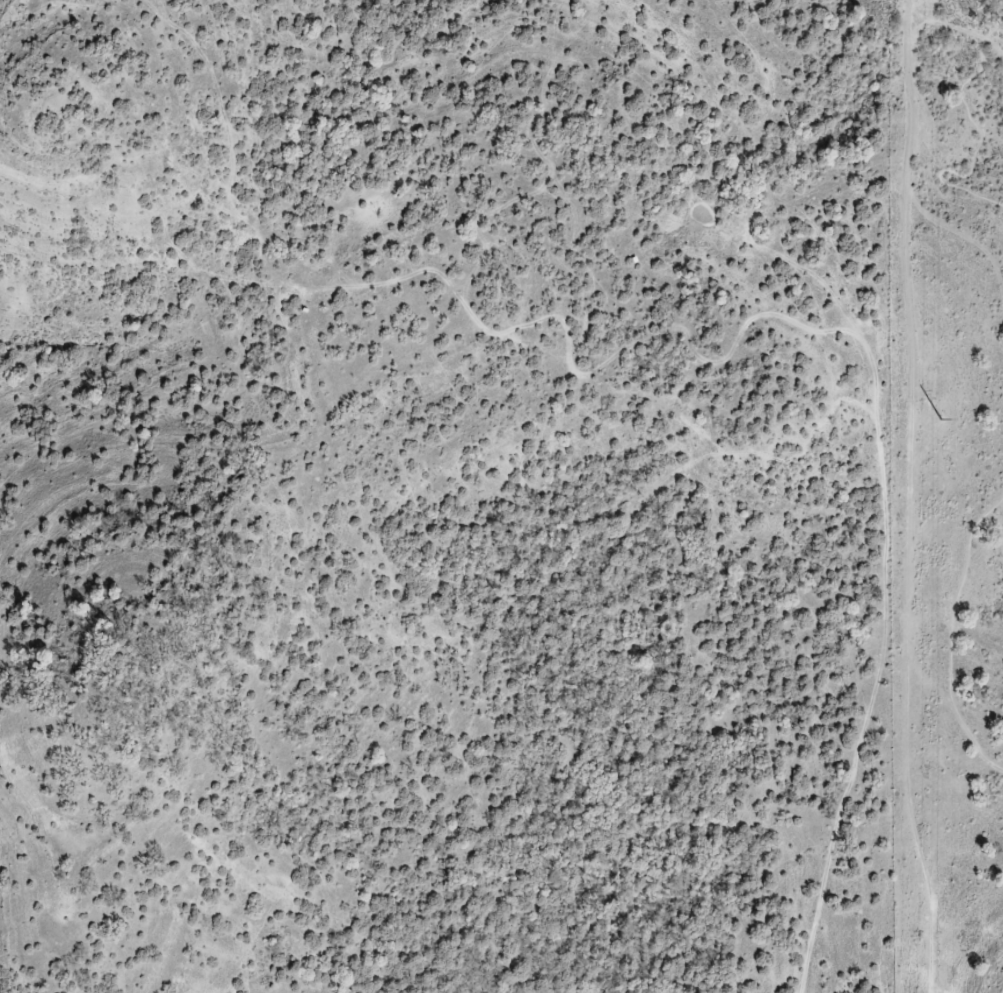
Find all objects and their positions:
road: (983, 139)
road: (906, 179)
power tower: (939, 419)
road: (952, 633)

